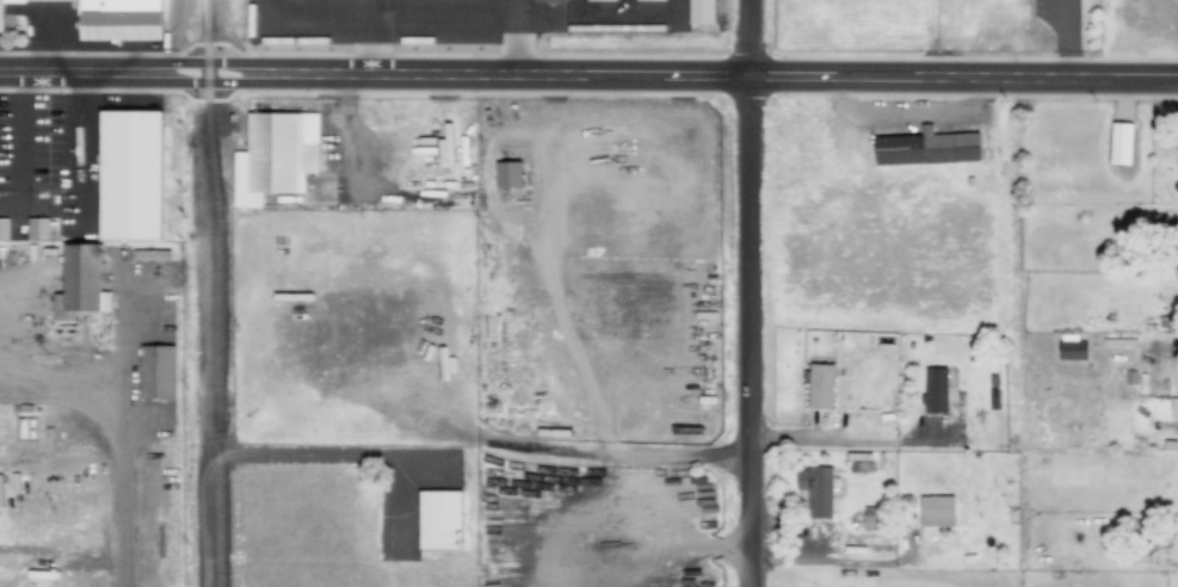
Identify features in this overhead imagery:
building: (649, 0)
building: (547, 1)
building: (598, 1)
building: (698, 13)
building: (1, 18)
building: (121, 19)
road: (423, 76)
road: (1011, 78)
building: (1122, 143)
building: (927, 148)
building: (273, 157)
building: (508, 174)
building: (129, 175)
building: (38, 228)
building: (4, 229)
building: (152, 254)
building: (76, 284)
railway: (216, 292)
road: (748, 293)
road: (201, 330)
building: (1072, 348)
building: (155, 373)
building: (821, 387)
building: (936, 390)
building: (1174, 407)
building: (816, 490)
building: (937, 511)
building: (870, 518)
building: (436, 521)

